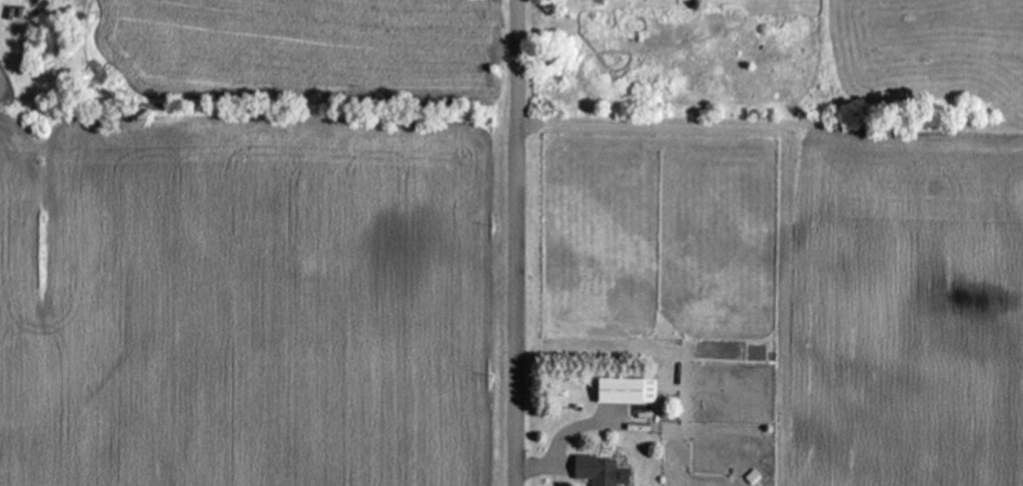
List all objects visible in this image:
road: (516, 243)
building: (625, 389)
building: (595, 468)

